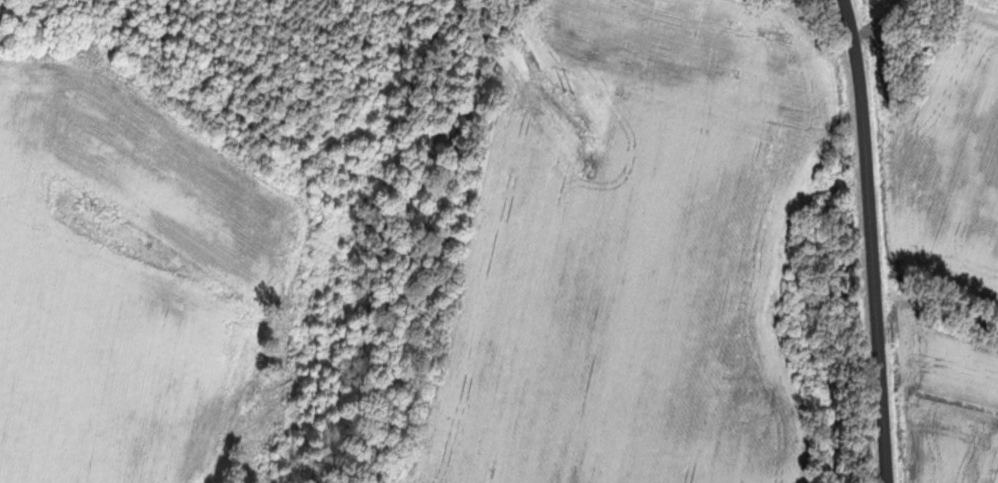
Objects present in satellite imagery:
power tower: (568, 93)
road: (872, 241)

